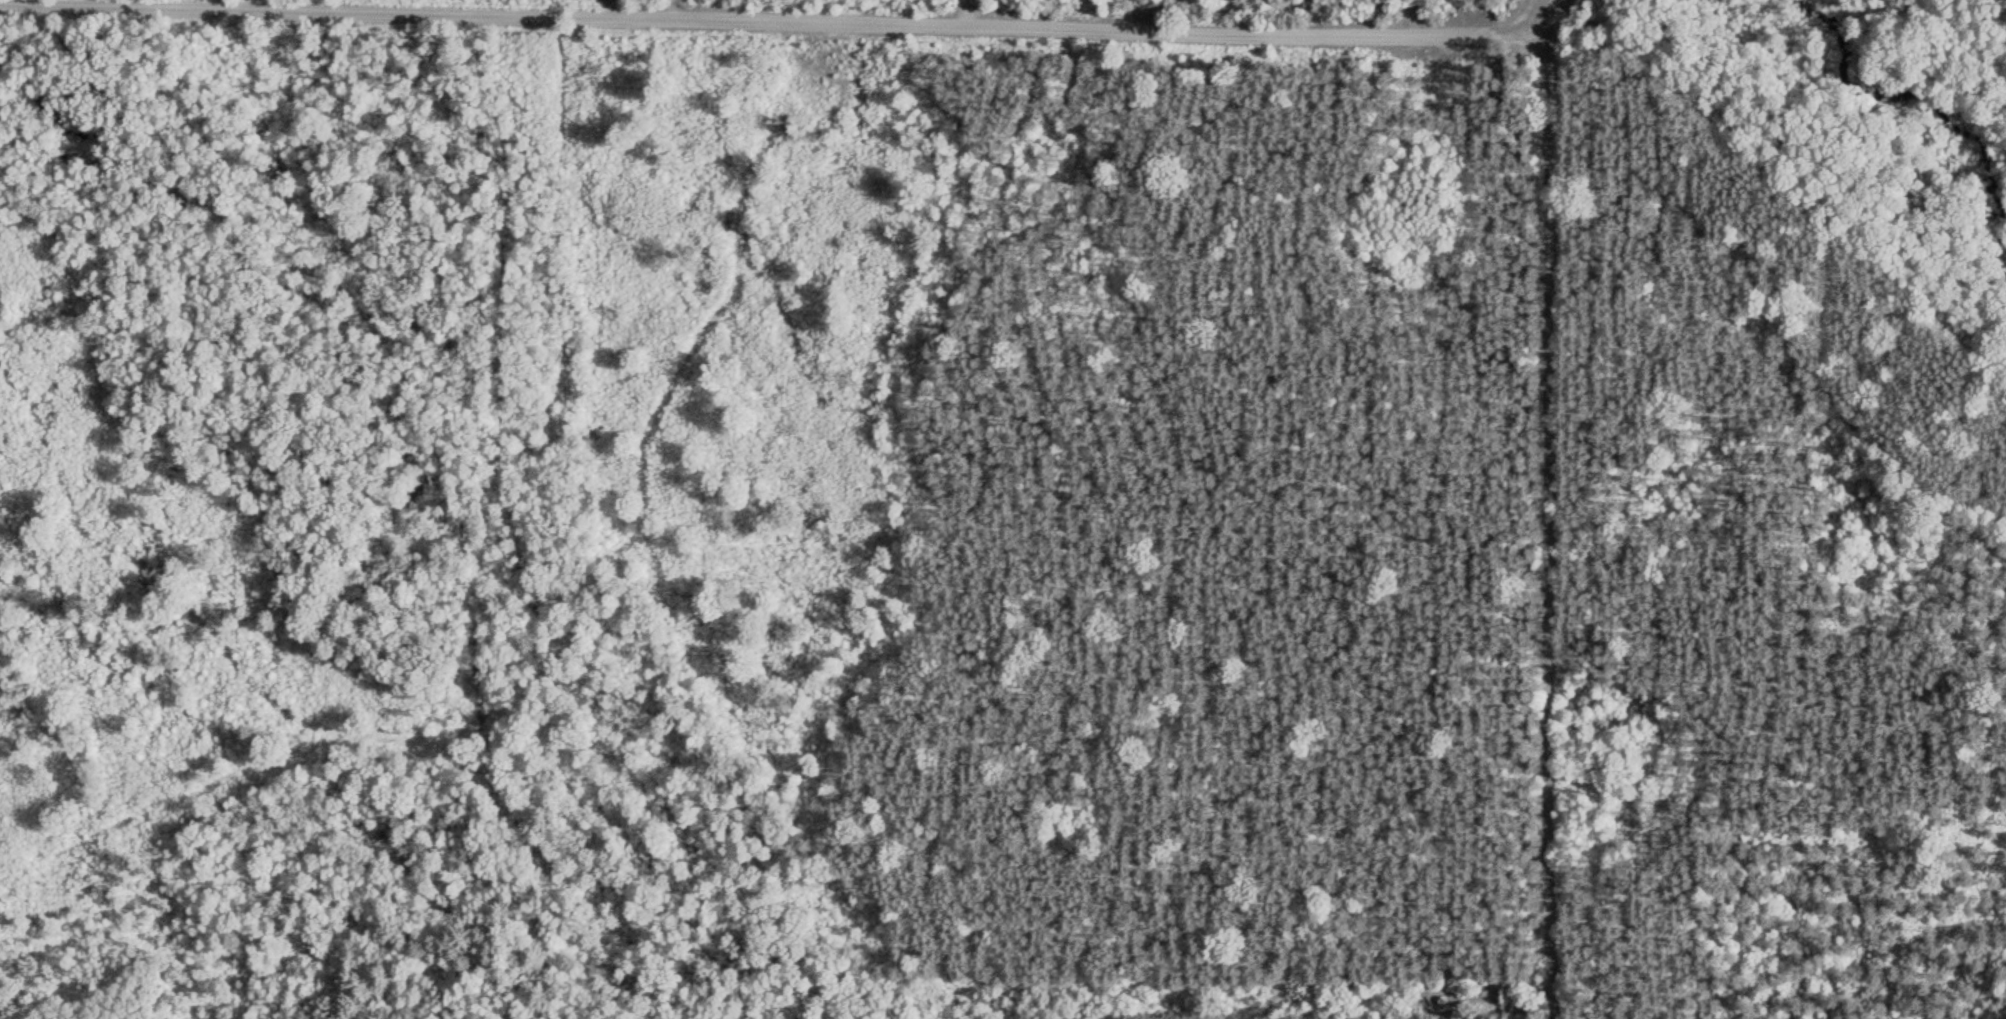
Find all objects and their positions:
road: (1544, 509)

